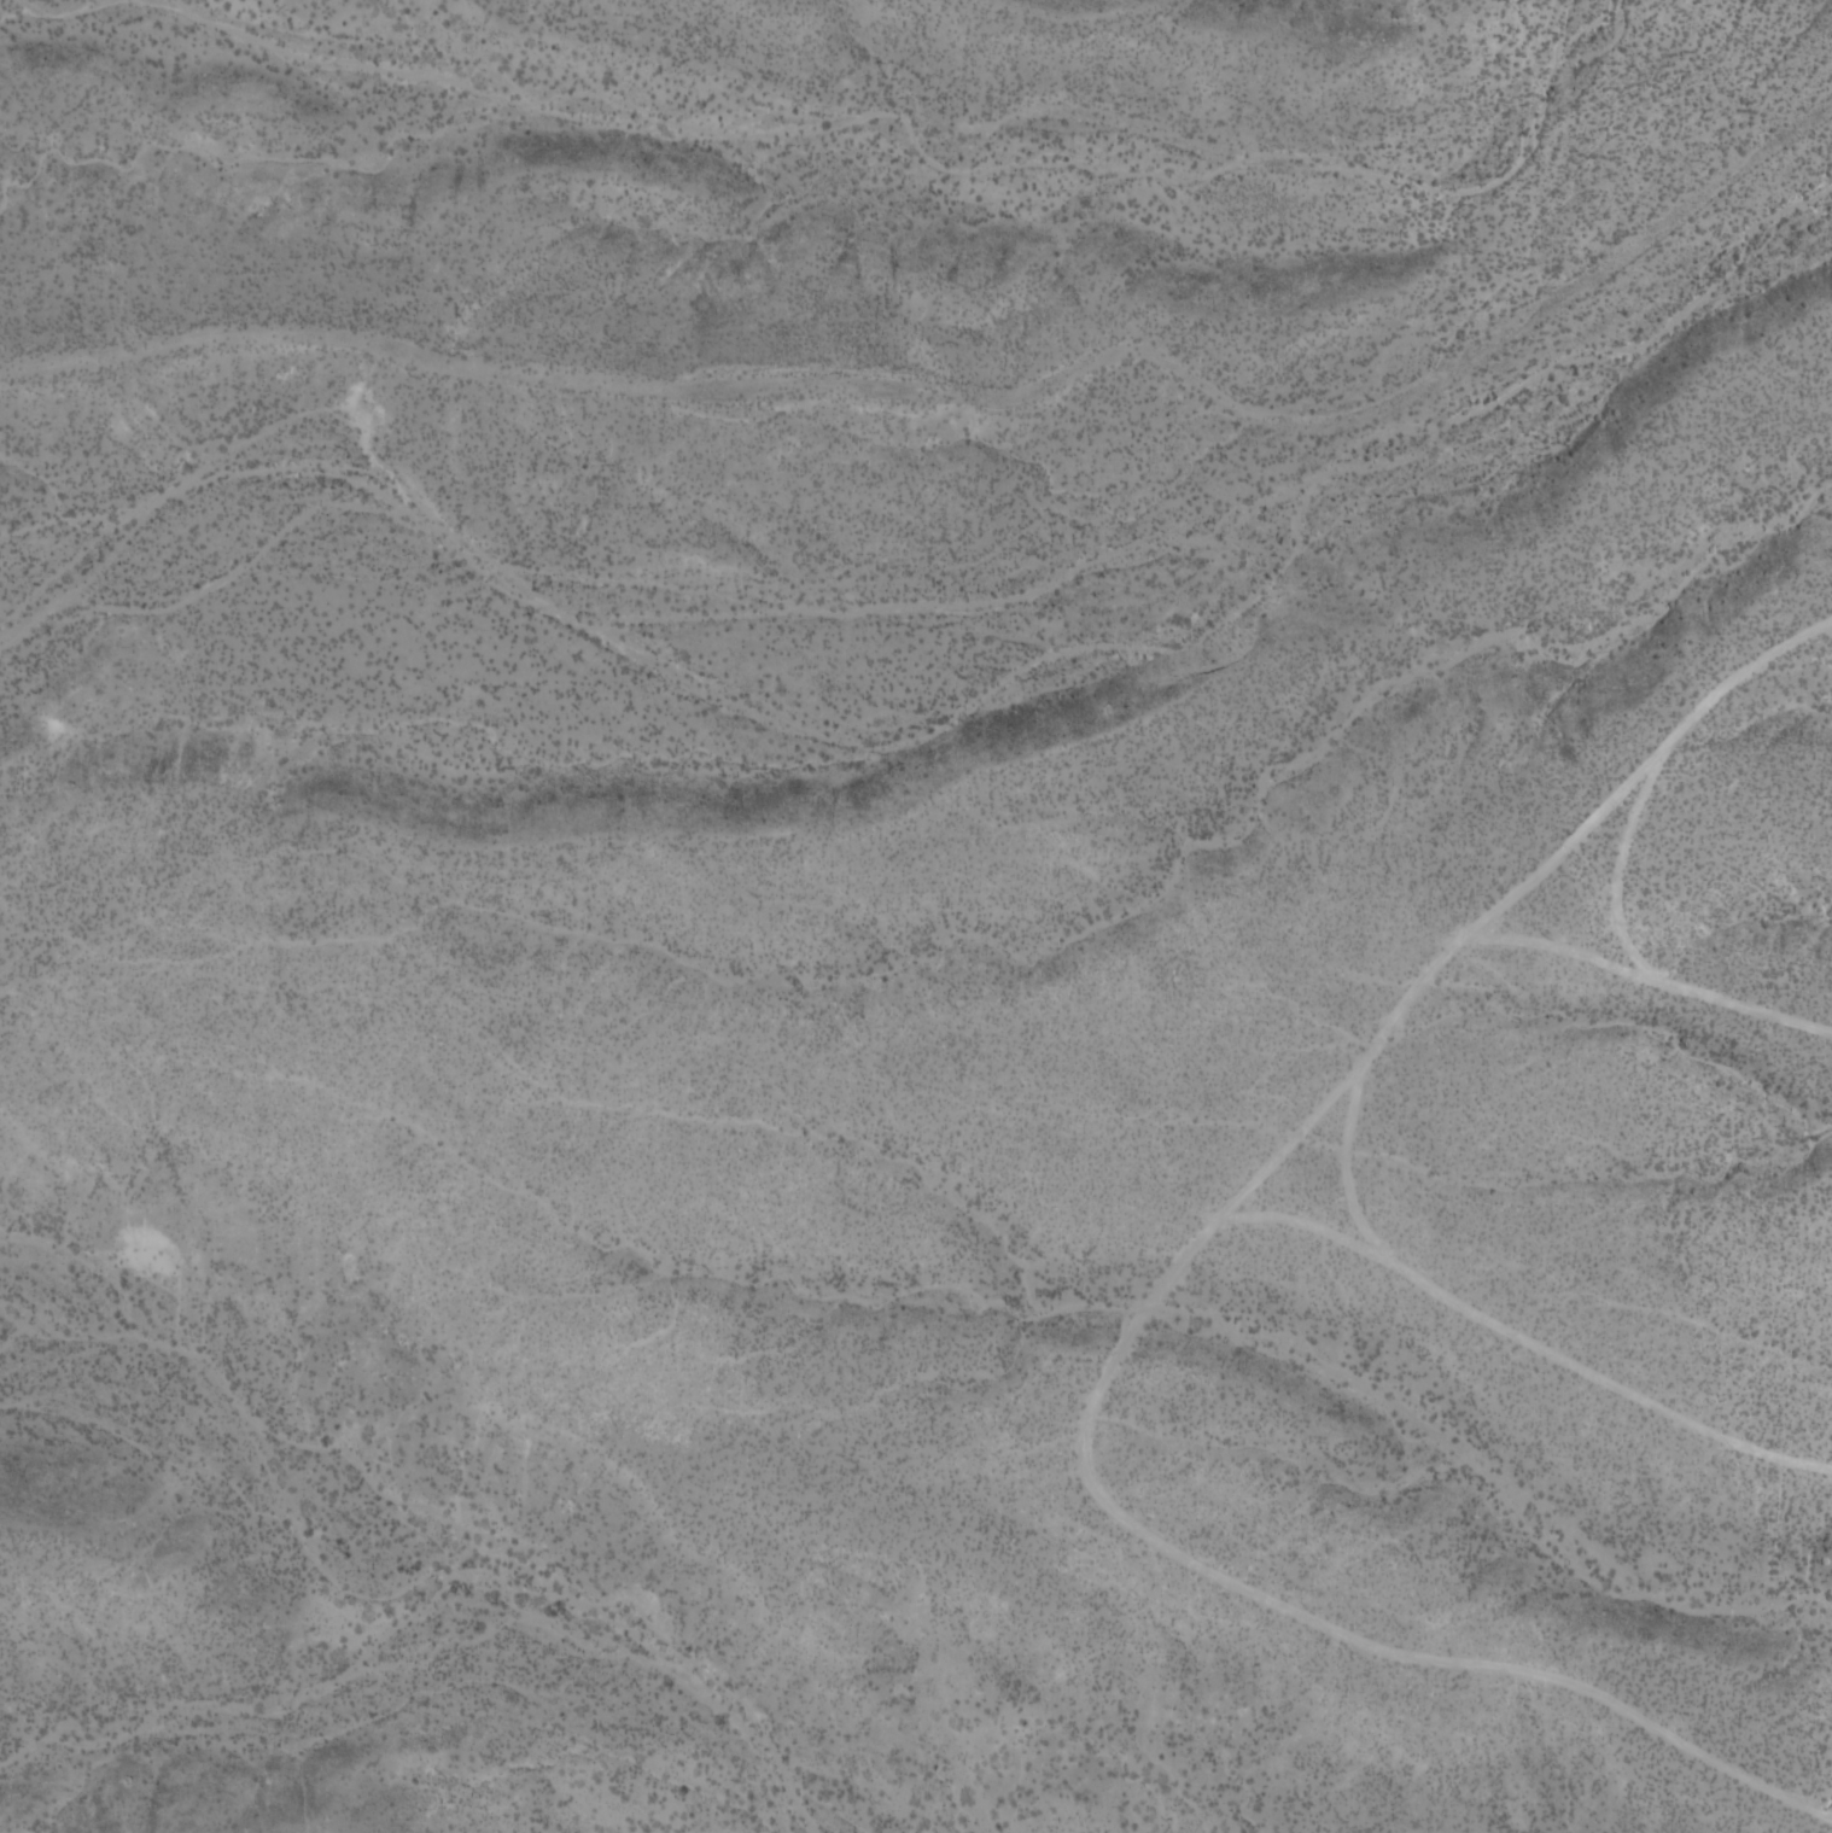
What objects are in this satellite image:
road: (1656, 760)
road: (1560, 847)
road: (1465, 938)
road: (1287, 1139)
road: (1090, 1411)

